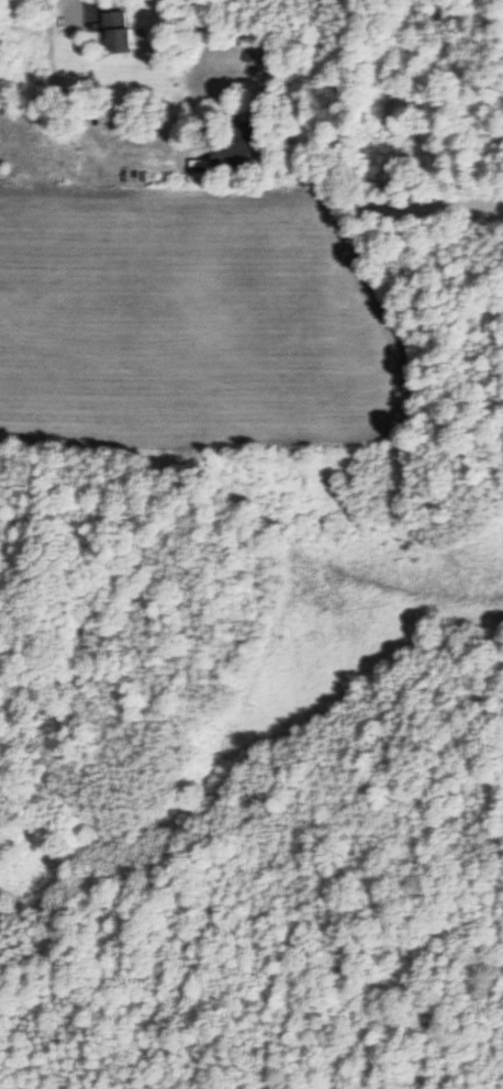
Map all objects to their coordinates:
building: (113, 32)
building: (232, 149)

